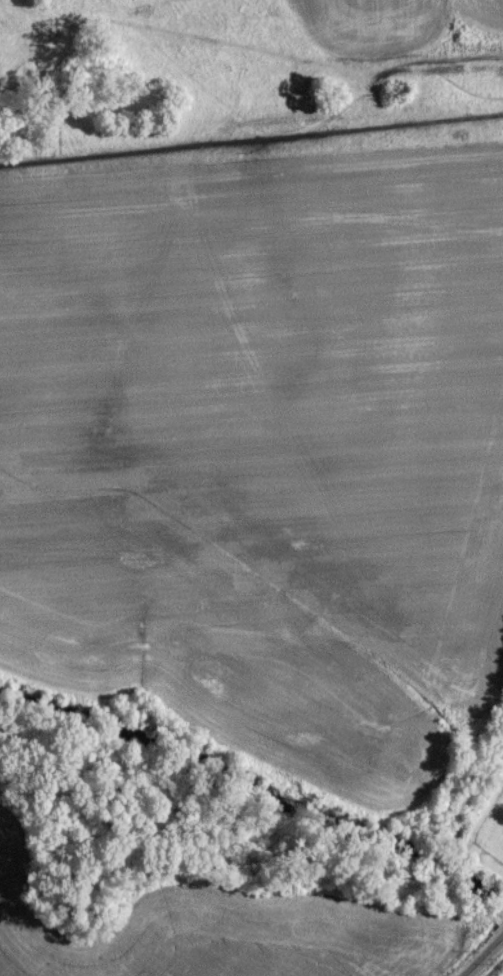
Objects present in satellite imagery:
road: (481, 951)

